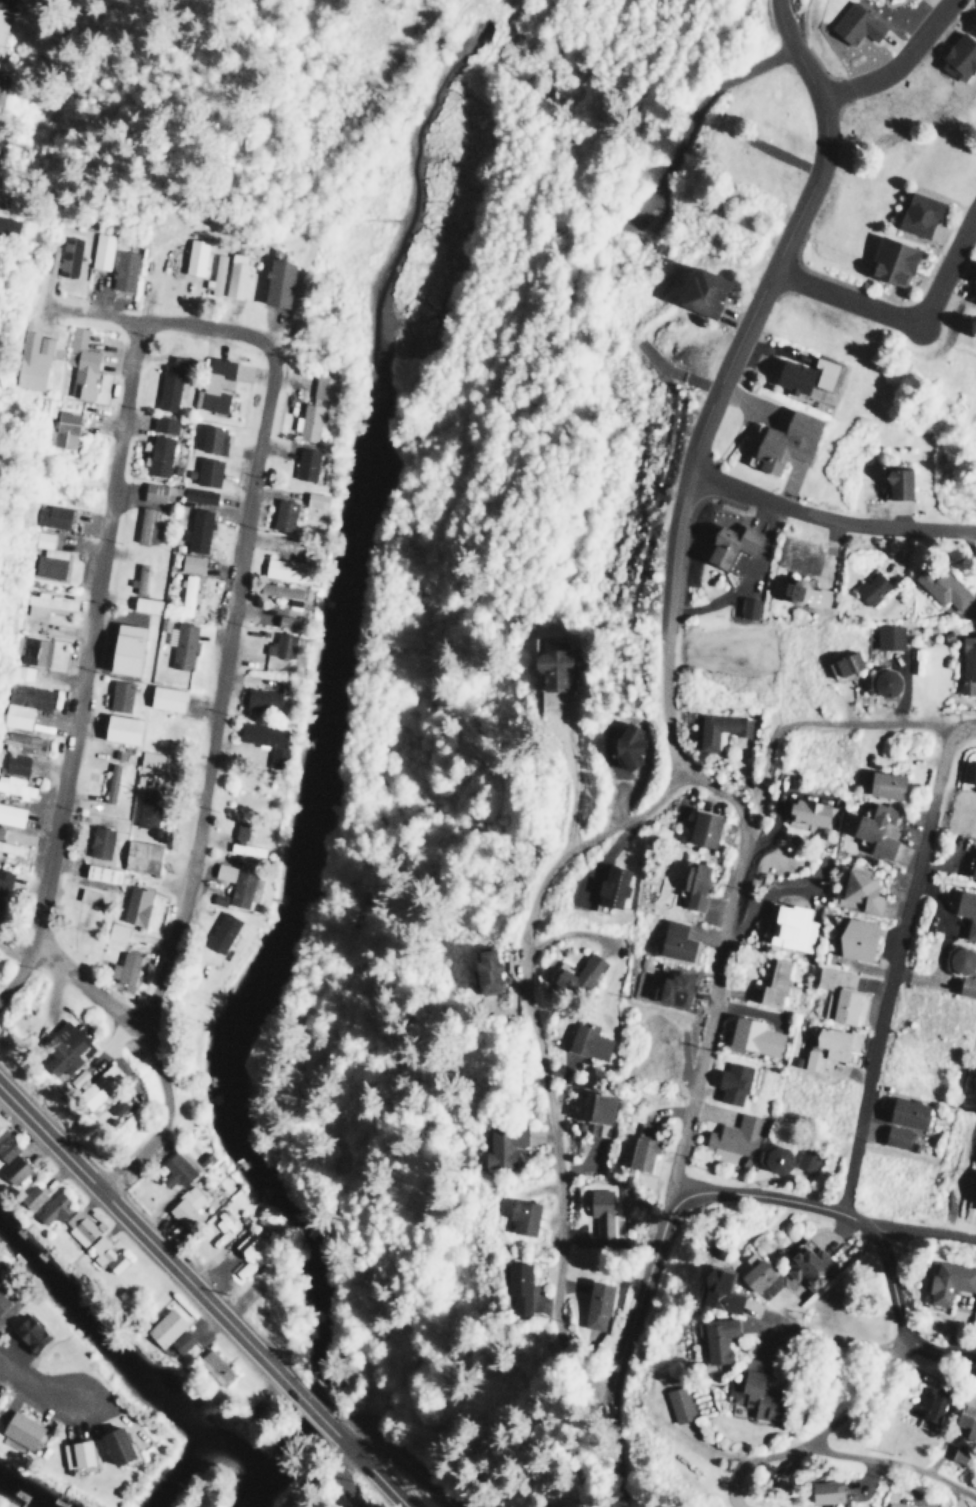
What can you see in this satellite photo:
building: (8, 5)
building: (1, 17)
building: (854, 22)
building: (972, 23)
road: (804, 47)
building: (958, 56)
road: (899, 61)
building: (917, 212)
building: (5, 224)
building: (101, 250)
building: (63, 256)
building: (195, 256)
building: (889, 259)
building: (122, 269)
building: (235, 274)
building: (215, 275)
building: (973, 276)
building: (275, 281)
road: (770, 283)
building: (701, 291)
building: (973, 294)
road: (901, 312)
road: (155, 325)
building: (30, 359)
building: (79, 363)
building: (799, 375)
building: (170, 382)
building: (212, 384)
building: (323, 387)
building: (309, 421)
building: (162, 423)
building: (64, 428)
building: (211, 438)
building: (783, 440)
building: (157, 455)
building: (305, 463)
building: (206, 470)
building: (896, 482)
building: (151, 491)
building: (197, 494)
building: (314, 499)
building: (282, 514)
building: (50, 515)
road: (831, 517)
building: (142, 523)
building: (196, 529)
building: (728, 543)
road: (672, 554)
building: (47, 556)
building: (190, 563)
building: (285, 568)
building: (138, 577)
building: (941, 586)
building: (870, 587)
building: (281, 591)
building: (805, 592)
building: (186, 594)
building: (43, 603)
building: (144, 604)
building: (748, 607)
building: (285, 620)
building: (888, 636)
building: (180, 644)
building: (279, 644)
building: (122, 647)
building: (33, 650)
building: (843, 663)
building: (967, 664)
road: (84, 666)
building: (551, 666)
building: (22, 672)
building: (882, 682)
building: (118, 694)
building: (164, 697)
building: (260, 698)
building: (22, 703)
road: (803, 724)
road: (962, 724)
building: (119, 727)
building: (719, 729)
building: (265, 739)
building: (23, 742)
building: (625, 744)
building: (148, 760)
building: (15, 762)
building: (972, 775)
road: (204, 778)
building: (109, 781)
building: (884, 784)
building: (16, 786)
building: (806, 811)
building: (11, 814)
building: (145, 814)
building: (702, 828)
building: (0, 829)
building: (875, 829)
building: (98, 841)
building: (242, 843)
building: (10, 847)
building: (140, 856)
building: (970, 861)
building: (100, 872)
building: (3, 881)
building: (692, 883)
building: (235, 884)
building: (611, 885)
building: (858, 889)
building: (134, 905)
building: (966, 911)
building: (790, 926)
building: (114, 931)
building: (220, 931)
building: (855, 938)
building: (673, 940)
building: (958, 958)
building: (122, 967)
road: (898, 968)
building: (484, 970)
building: (577, 975)
building: (773, 982)
building: (967, 983)
building: (673, 986)
road: (90, 992)
building: (836, 993)
road: (528, 995)
road: (702, 1014)
building: (752, 1036)
building: (587, 1040)
building: (831, 1041)
building: (60, 1048)
building: (811, 1059)
building: (731, 1082)
building: (96, 1085)
building: (975, 1092)
building: (114, 1107)
building: (599, 1107)
building: (906, 1112)
building: (735, 1135)
building: (896, 1136)
building: (5, 1145)
building: (501, 1145)
building: (641, 1146)
building: (773, 1158)
building: (805, 1159)
building: (12, 1169)
road: (80, 1169)
building: (174, 1169)
building: (30, 1196)
road: (776, 1201)
building: (184, 1206)
building: (51, 1208)
building: (599, 1210)
building: (522, 1216)
building: (78, 1225)
road: (926, 1230)
building: (249, 1251)
building: (104, 1254)
building: (807, 1266)
building: (753, 1272)
building: (948, 1281)
road: (891, 1284)
building: (516, 1285)
building: (716, 1291)
building: (2, 1300)
building: (596, 1304)
road: (228, 1320)
building: (163, 1327)
building: (28, 1333)
building: (179, 1341)
road: (845, 1342)
road: (620, 1344)
road: (941, 1345)
building: (213, 1366)
road: (33, 1387)
building: (752, 1393)
building: (678, 1403)
building: (933, 1404)
road: (314, 1409)
building: (967, 1416)
building: (19, 1428)
road: (813, 1432)
building: (114, 1445)
building: (958, 1452)
building: (75, 1453)
road: (400, 1455)
road: (893, 1463)
road: (371, 1468)
road: (344, 1479)
building: (824, 1491)
building: (893, 1505)

